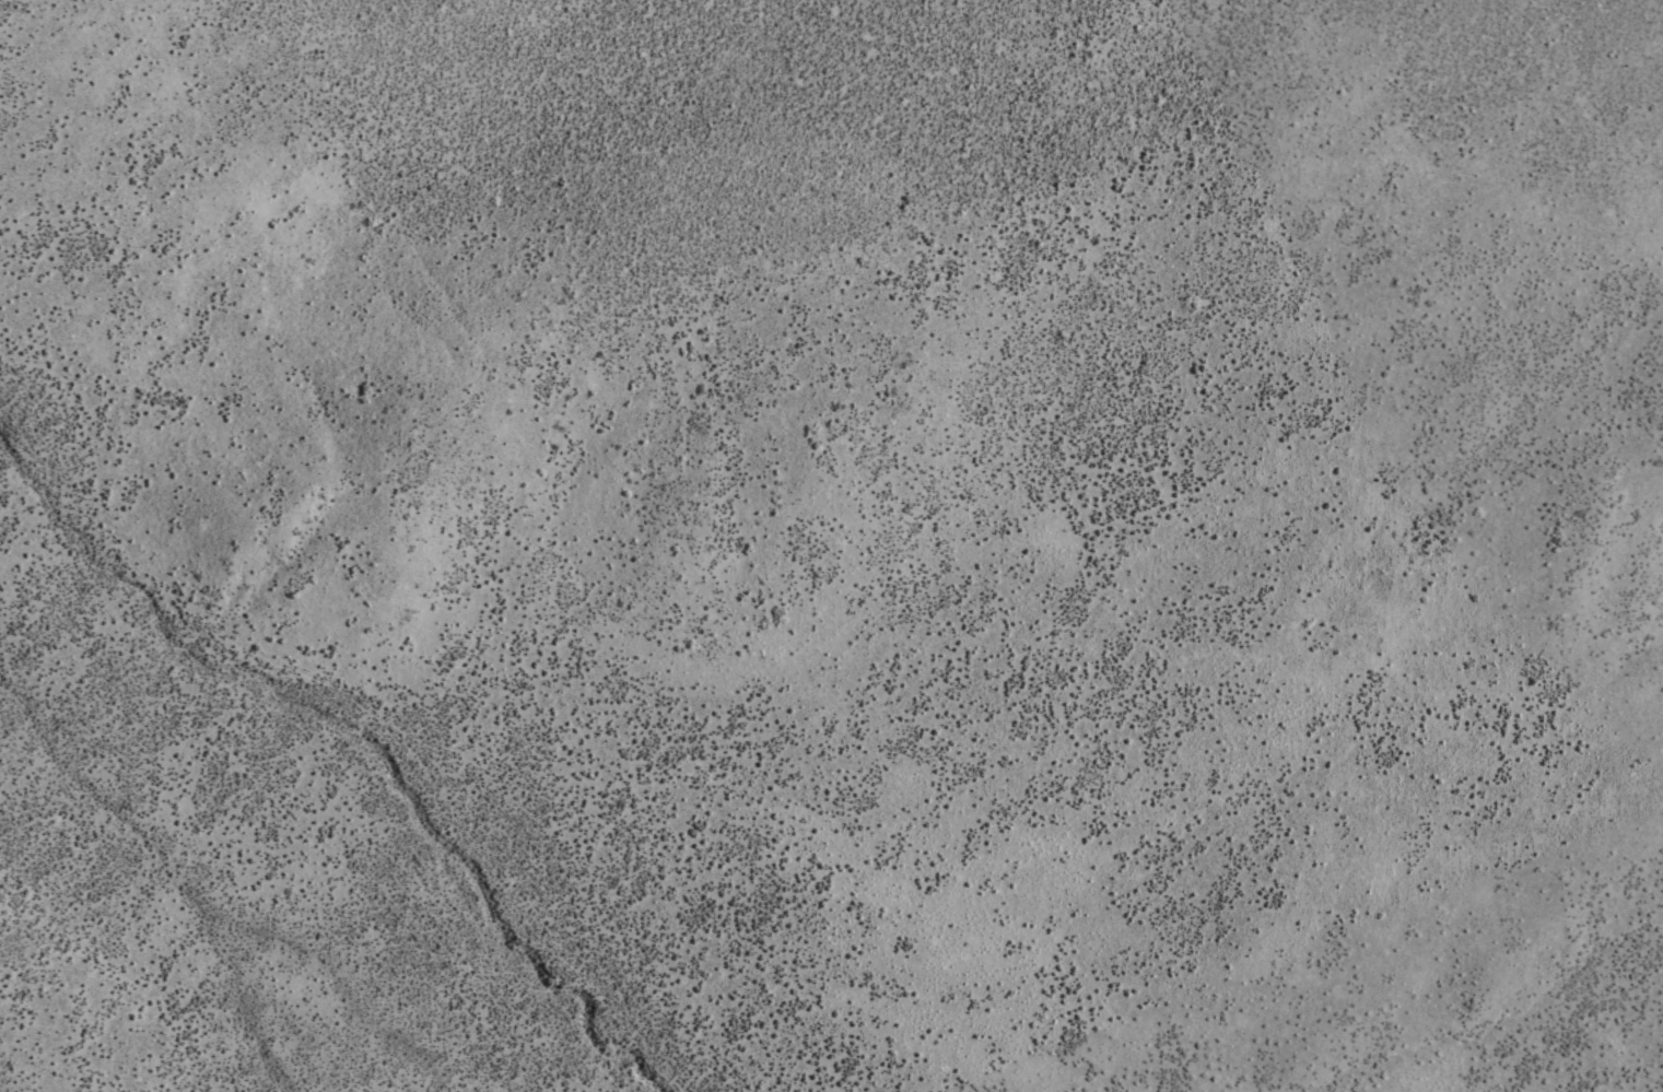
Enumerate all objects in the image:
crop: (395, 721)

